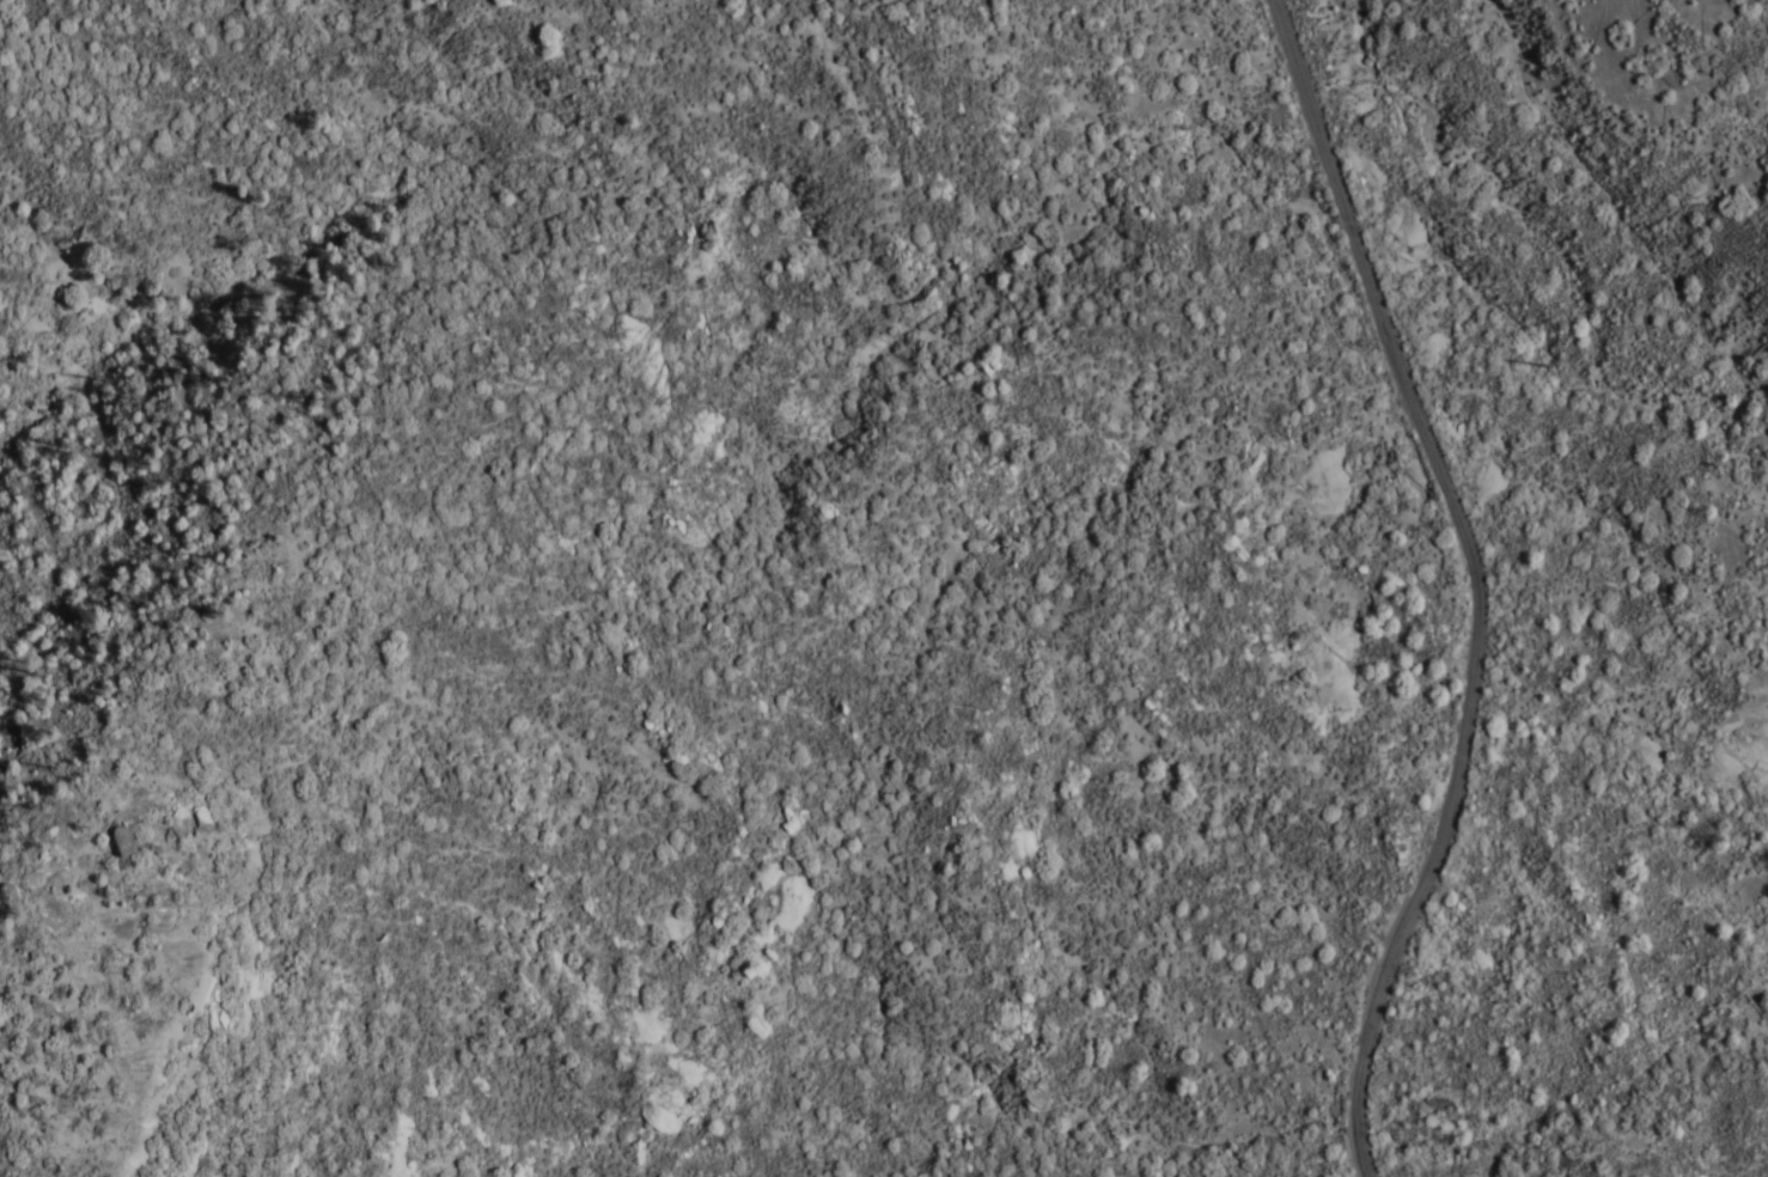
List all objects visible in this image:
road: (1473, 583)

